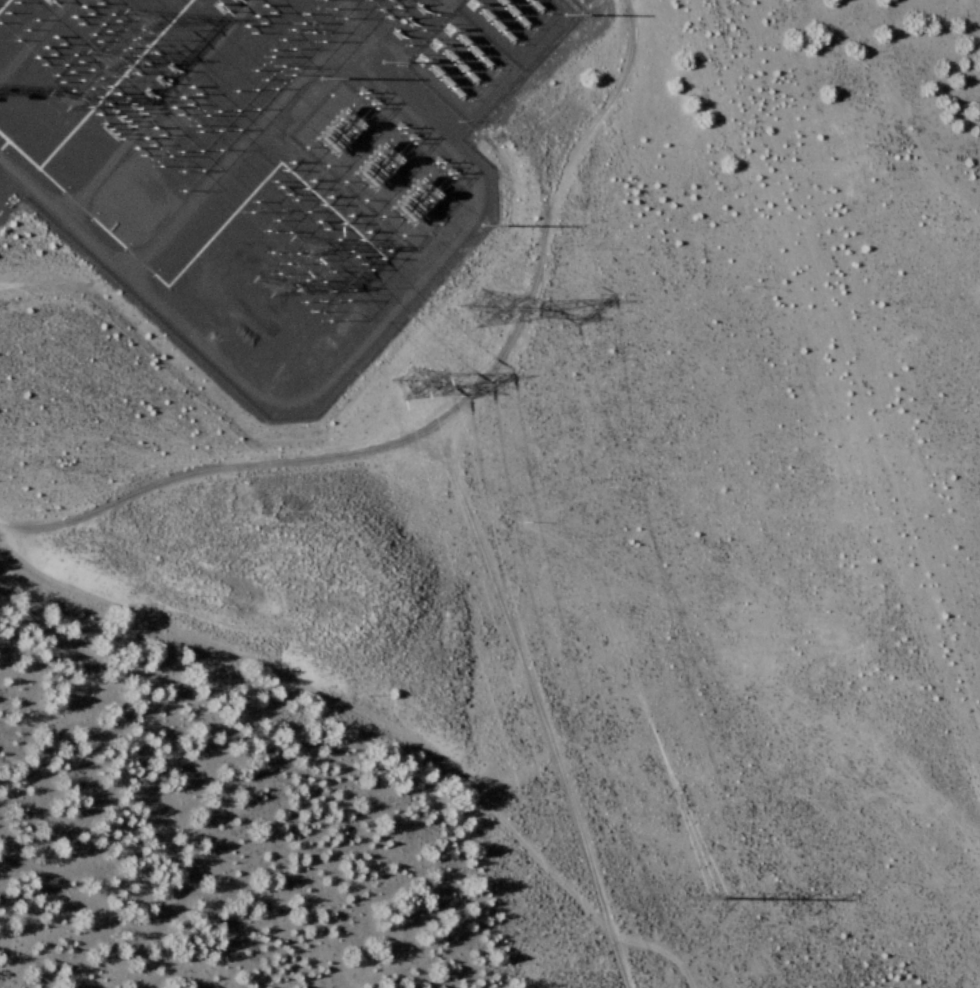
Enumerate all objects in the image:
power substation: (264, 164)
power tower: (273, 261)
power tower: (492, 313)
power tower: (423, 389)
road: (445, 414)
road: (532, 705)
power tower: (714, 897)

